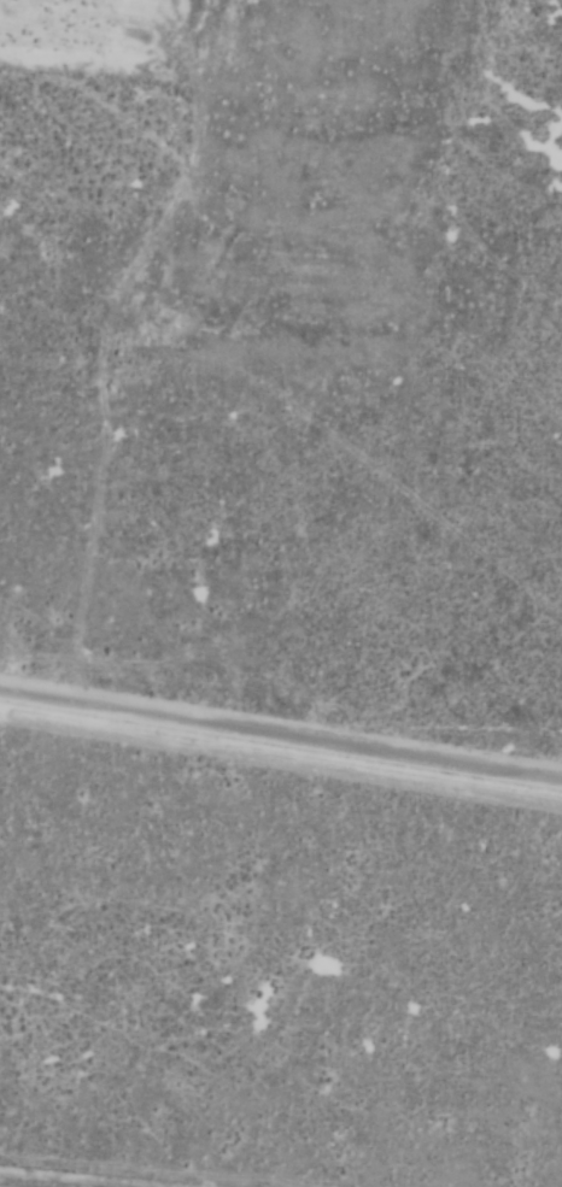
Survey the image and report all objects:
airport: (281, 593)

